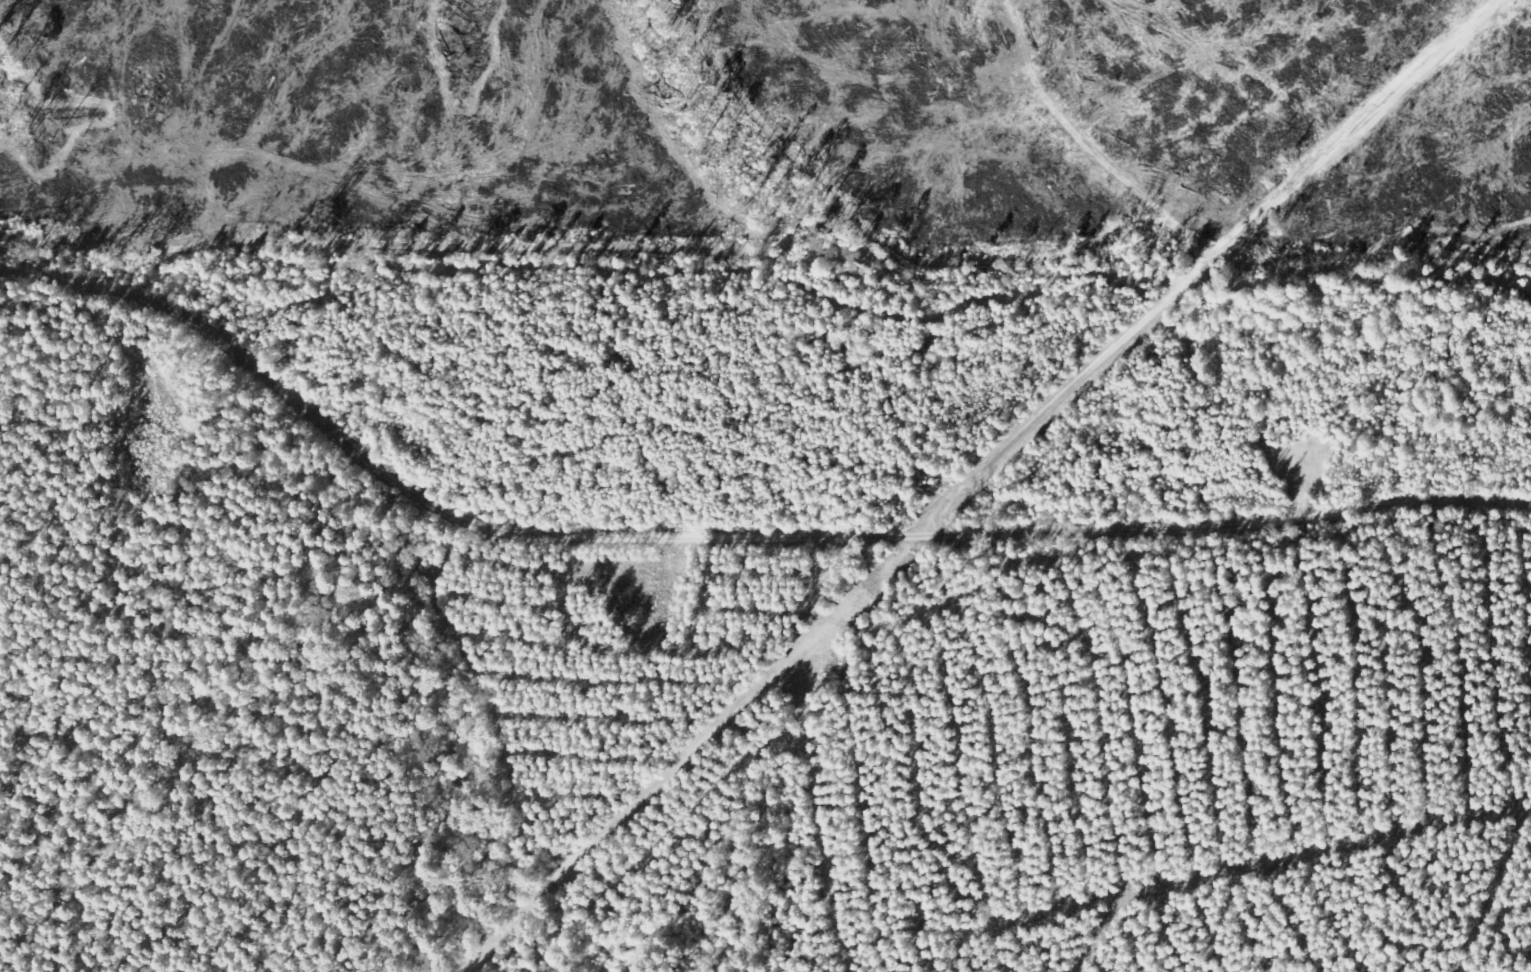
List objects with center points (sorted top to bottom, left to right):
road: (1143, 236)
road: (738, 521)

